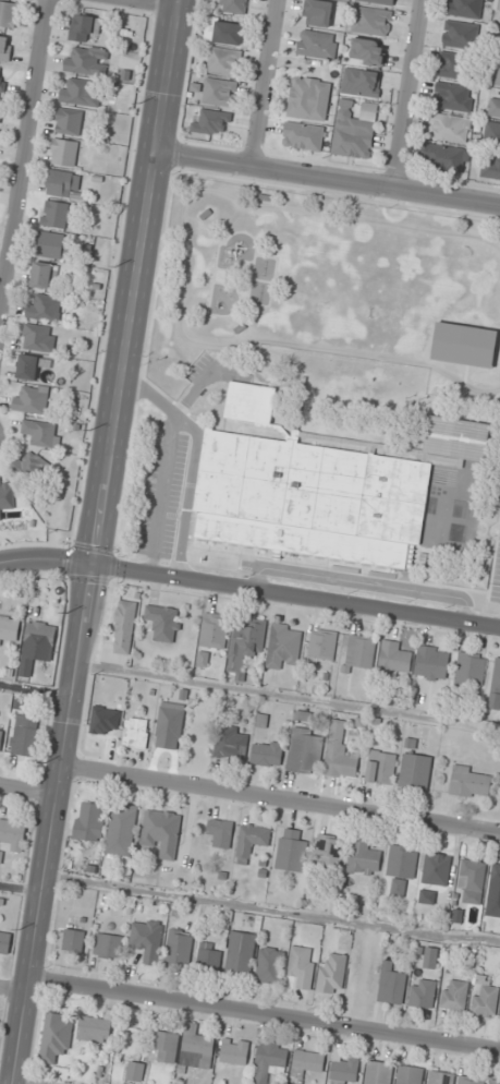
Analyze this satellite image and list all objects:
building: (380, 1)
road: (159, 3)
building: (233, 7)
building: (465, 9)
building: (8, 13)
building: (317, 13)
building: (371, 21)
building: (84, 28)
building: (228, 33)
building: (460, 35)
building: (317, 44)
building: (5, 47)
building: (499, 47)
building: (367, 51)
building: (86, 60)
building: (223, 61)
building: (455, 65)
building: (498, 74)
building: (2, 79)
building: (361, 82)
road: (268, 83)
building: (80, 92)
building: (219, 92)
road: (407, 95)
building: (453, 97)
building: (309, 98)
building: (0, 103)
building: (495, 108)
building: (69, 121)
building: (211, 123)
building: (449, 128)
building: (354, 129)
building: (491, 134)
building: (303, 136)
road: (22, 148)
building: (64, 153)
building: (444, 156)
building: (490, 166)
road: (329, 178)
building: (59, 182)
building: (54, 214)
building: (52, 245)
road: (2, 268)
building: (45, 275)
road: (136, 282)
building: (44, 308)
building: (36, 337)
building: (464, 345)
building: (27, 368)
building: (328, 393)
building: (31, 399)
building: (248, 401)
building: (41, 432)
road: (172, 432)
building: (454, 437)
road: (196, 460)
building: (31, 466)
building: (7, 493)
building: (308, 498)
road: (45, 559)
traffic signals: (92, 567)
road: (364, 582)
road: (295, 597)
building: (164, 622)
building: (124, 626)
building: (214, 629)
building: (9, 630)
building: (40, 637)
building: (246, 642)
building: (322, 643)
building: (283, 645)
building: (361, 651)
building: (394, 658)
building: (431, 663)
building: (469, 670)
building: (496, 686)
road: (36, 688)
road: (289, 696)
building: (169, 725)
building: (136, 732)
building: (26, 735)
building: (1, 737)
building: (232, 742)
building: (305, 751)
building: (267, 752)
building: (340, 752)
building: (380, 767)
building: (415, 770)
road: (60, 773)
building: (471, 782)
road: (28, 791)
road: (281, 798)
building: (89, 821)
building: (121, 829)
building: (161, 831)
building: (219, 833)
building: (13, 834)
building: (253, 838)
building: (291, 851)
building: (329, 851)
building: (363, 857)
building: (401, 868)
building: (436, 868)
building: (495, 878)
building: (472, 880)
road: (21, 889)
building: (427, 896)
road: (271, 910)
building: (147, 939)
building: (71, 940)
building: (4, 942)
building: (107, 944)
building: (179, 948)
building: (241, 952)
building: (209, 955)
building: (428, 955)
building: (270, 965)
building: (303, 965)
building: (331, 973)
building: (391, 984)
road: (13, 990)
building: (423, 992)
building: (454, 995)
building: (485, 995)
road: (265, 1015)
building: (95, 1028)
road: (21, 1032)
building: (56, 1036)
building: (166, 1047)
building: (196, 1048)
building: (234, 1051)
building: (269, 1059)
building: (306, 1063)
building: (135, 1071)
building: (344, 1071)
building: (378, 1072)
building: (408, 1074)
building: (440, 1077)
building: (471, 1080)
road: (32, 1081)
building: (495, 1081)

